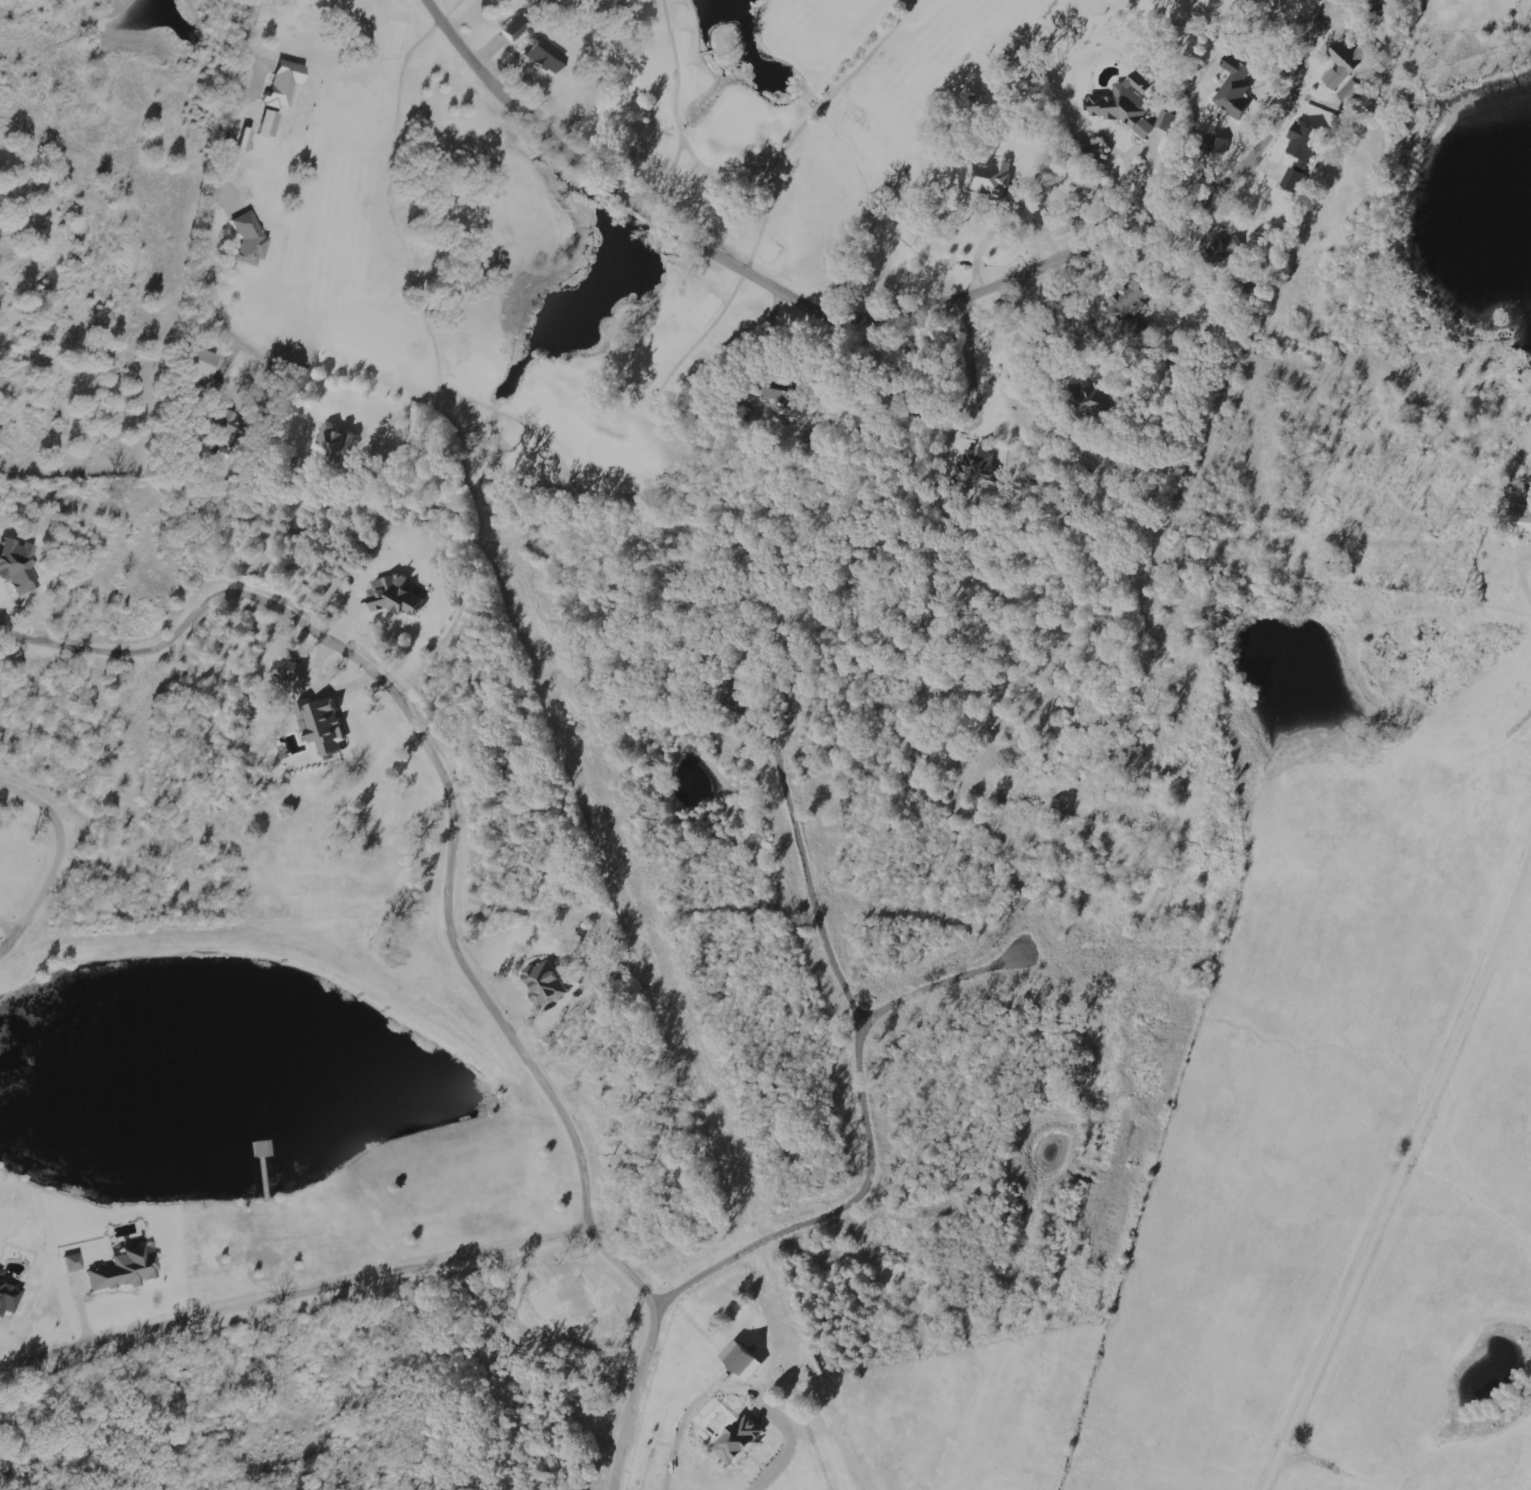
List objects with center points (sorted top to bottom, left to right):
building: (1379, 5)
building: (520, 27)
building: (549, 56)
building: (1344, 64)
building: (288, 83)
building: (1233, 87)
building: (1124, 107)
building: (1167, 122)
building: (272, 123)
building: (1302, 142)
building: (1218, 144)
building: (1094, 156)
building: (989, 179)
park: (561, 198)
road: (207, 222)
building: (251, 240)
building: (1219, 252)
building: (1126, 299)
road: (900, 304)
building: (203, 360)
building: (1089, 398)
building: (225, 422)
building: (337, 441)
building: (222, 456)
building: (975, 462)
road: (1193, 490)
road: (1461, 517)
building: (1519, 517)
building: (20, 561)
building: (396, 594)
building: (293, 669)
building: (326, 724)
road: (55, 858)
road: (446, 893)
building: (543, 983)
road: (1386, 1145)
building: (76, 1262)
building: (0, 1269)
building: (129, 1269)
road: (294, 1296)
building: (10, 1297)
building: (739, 1360)
building: (736, 1441)

